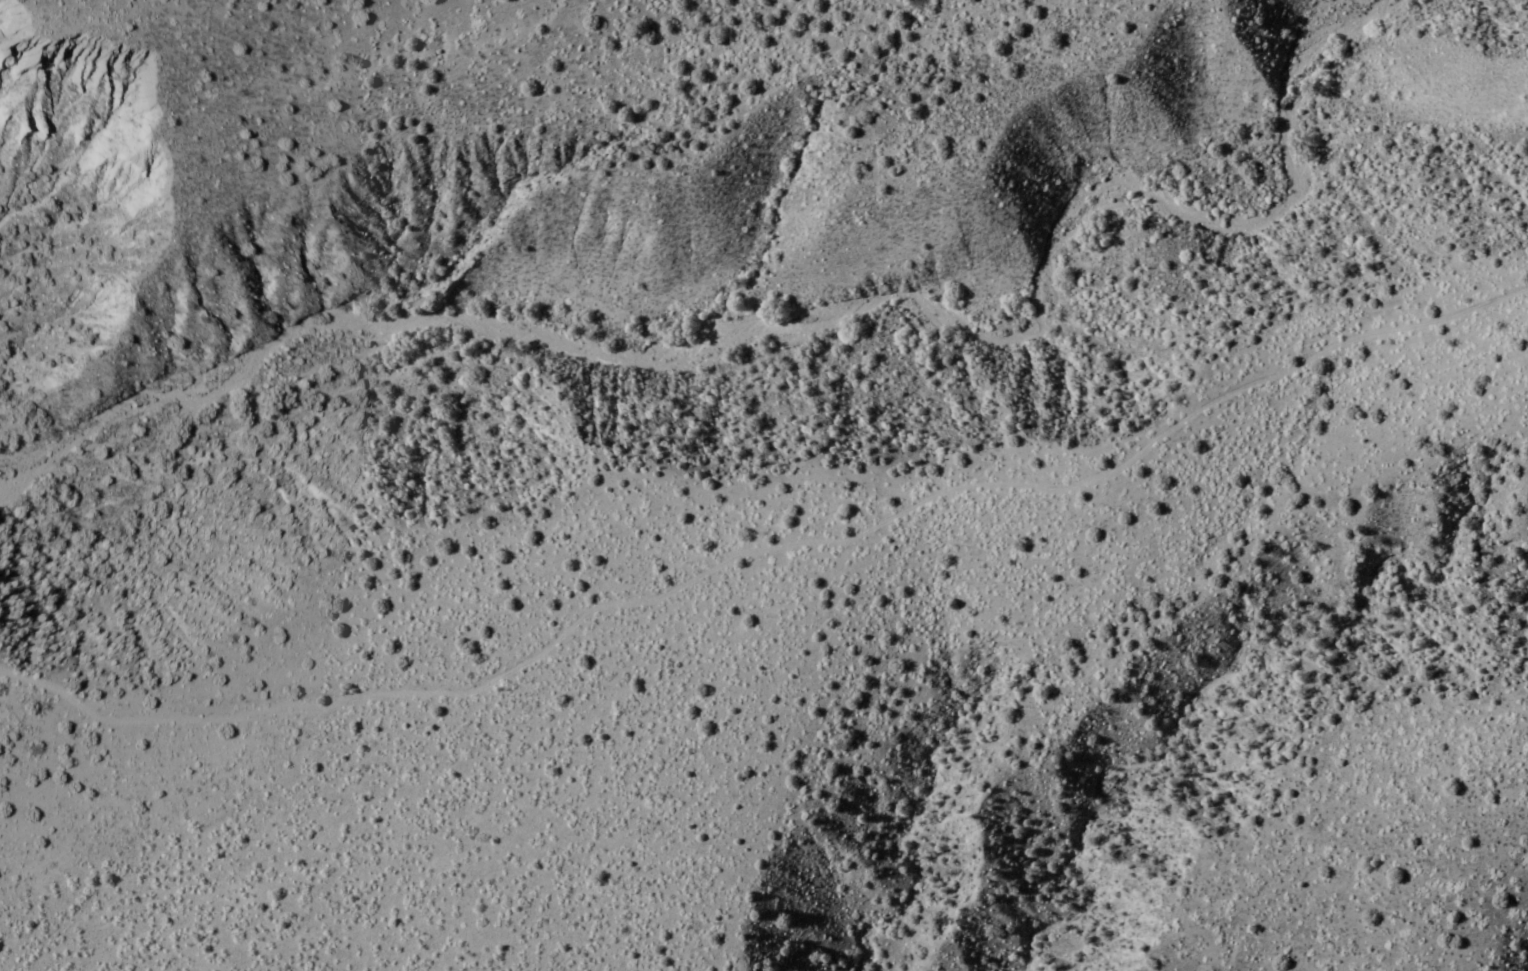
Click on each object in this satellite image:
road: (765, 474)

